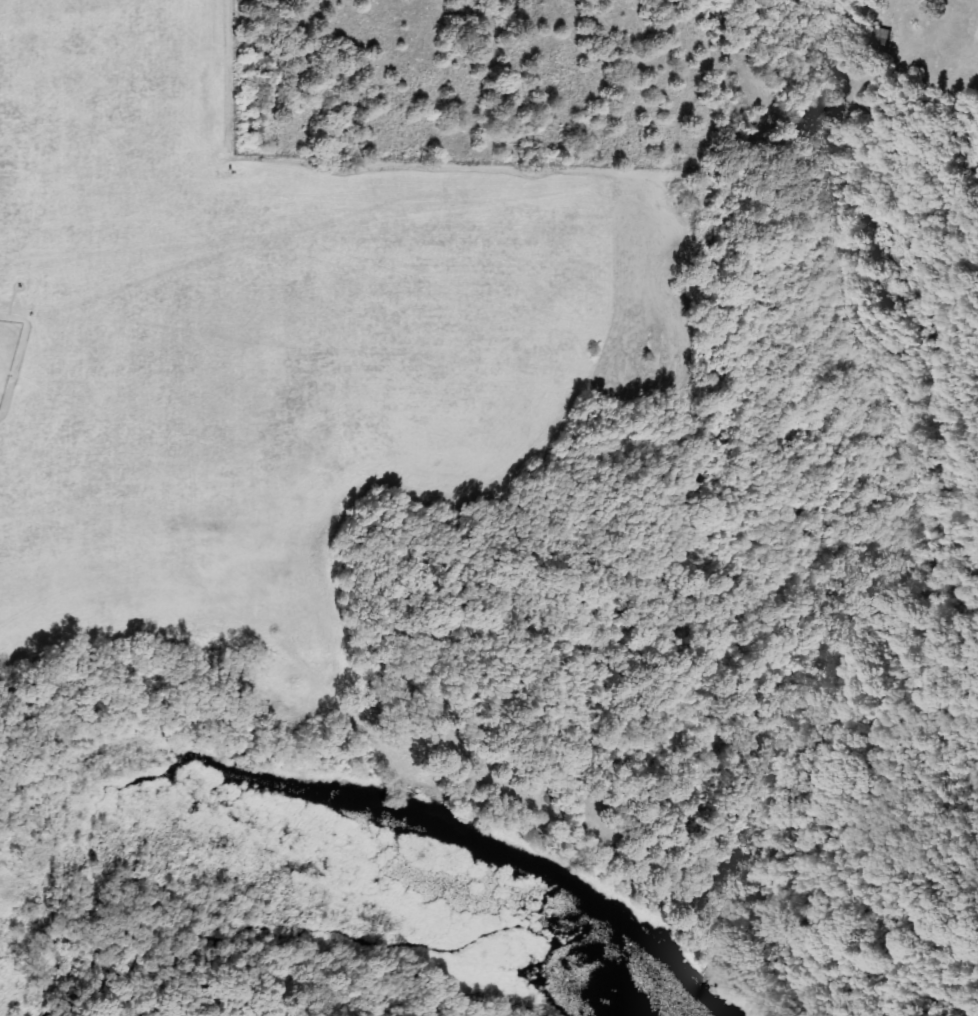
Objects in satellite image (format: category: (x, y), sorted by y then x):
building: (881, 39)

